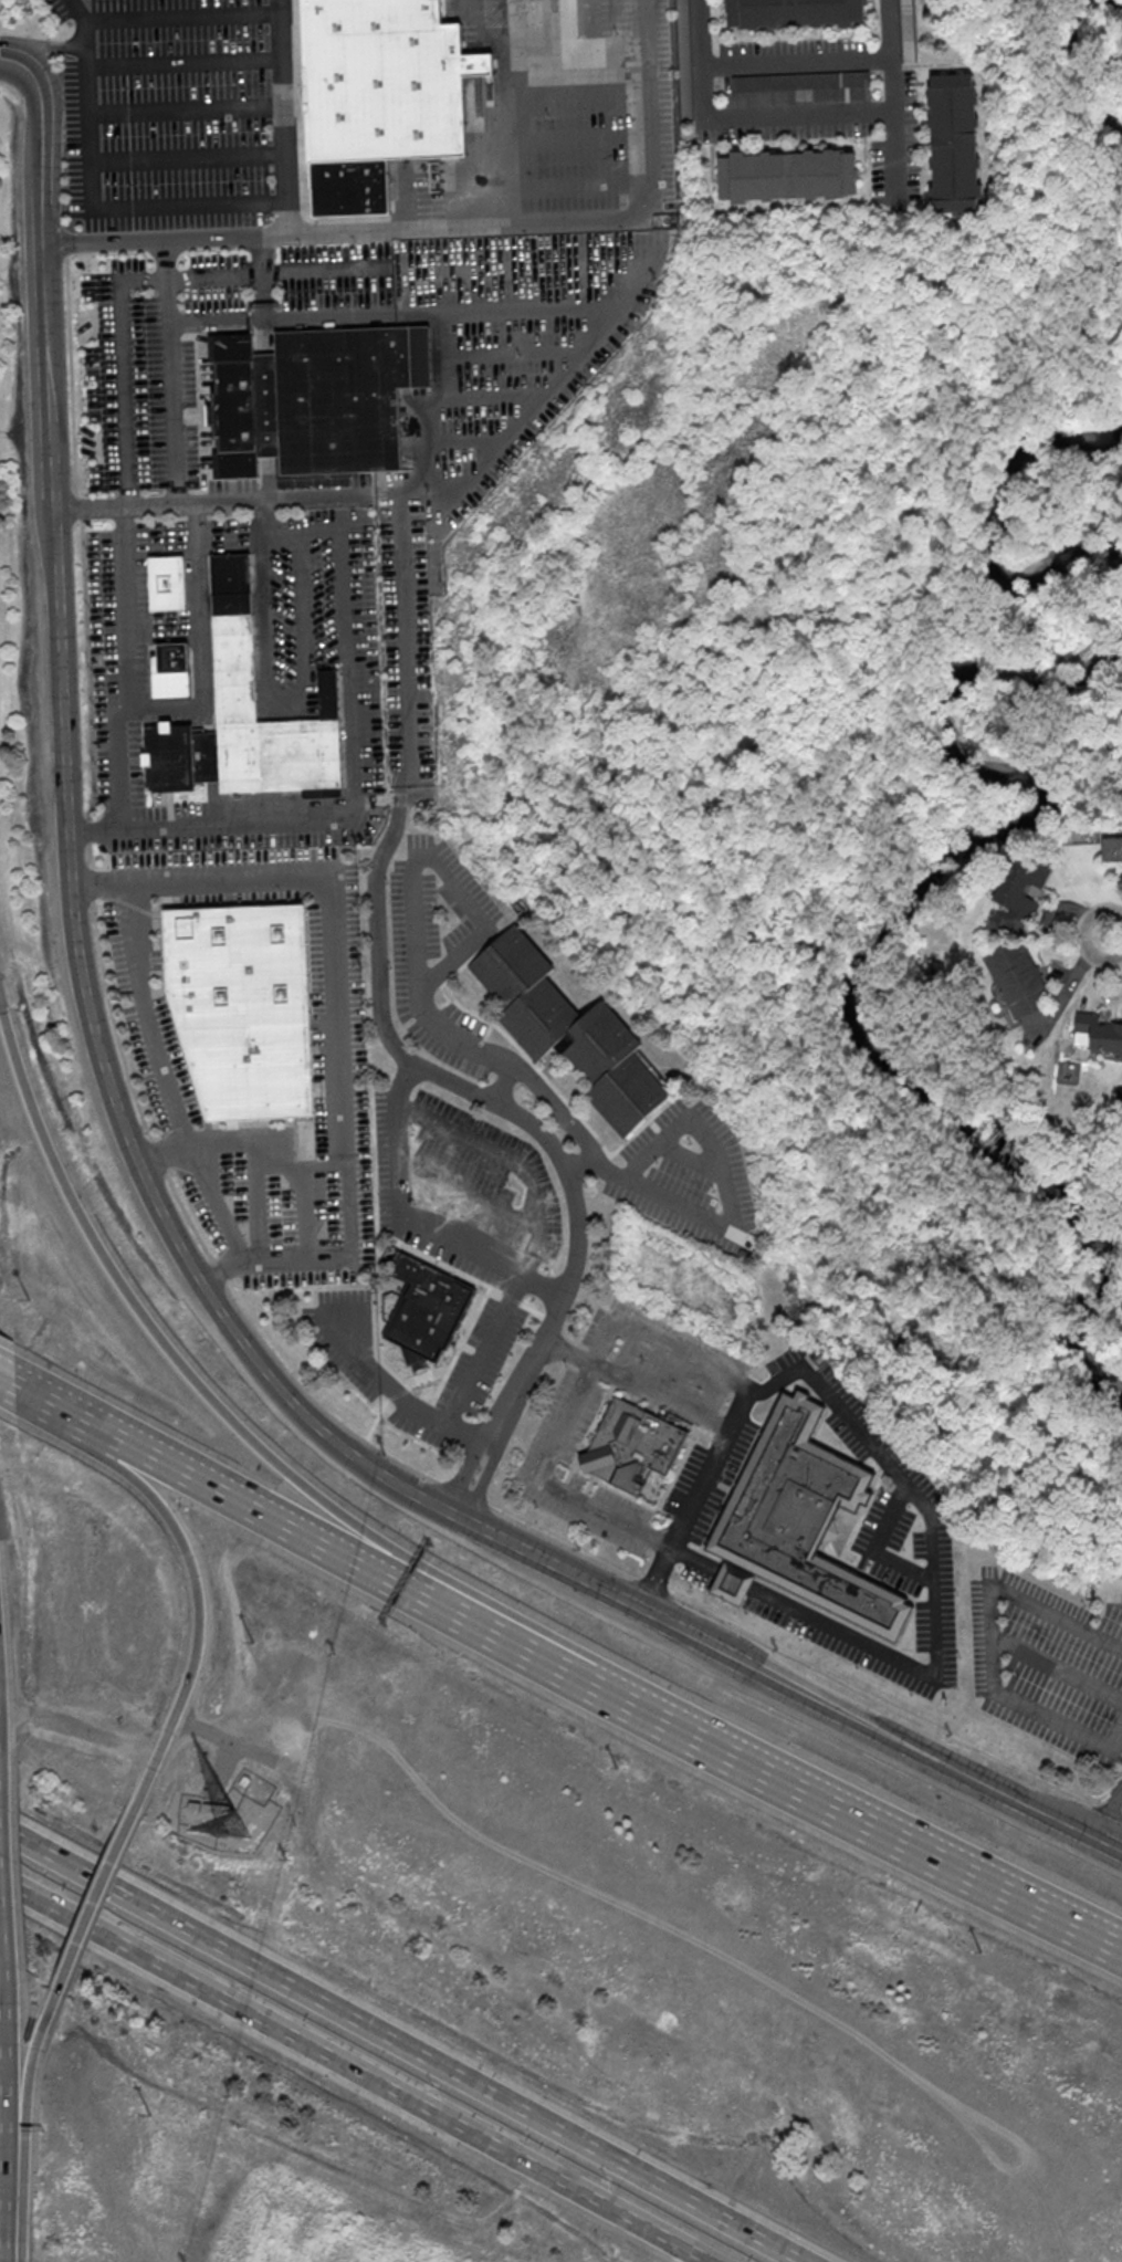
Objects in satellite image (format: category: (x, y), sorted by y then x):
building: (796, 13)
road: (181, 19)
road: (78, 21)
building: (909, 31)
road: (591, 42)
road: (39, 45)
river: (1068, 54)
road: (187, 61)
road: (703, 66)
building: (386, 78)
road: (893, 82)
building: (803, 90)
road: (514, 95)
road: (189, 111)
road: (286, 116)
road: (43, 140)
building: (955, 147)
road: (191, 158)
building: (788, 178)
building: (350, 186)
road: (112, 203)
road: (342, 231)
road: (431, 269)
road: (428, 313)
road: (218, 321)
road: (123, 325)
road: (522, 352)
road: (172, 373)
road: (500, 394)
building: (312, 400)
road: (429, 408)
road: (482, 434)
road: (244, 501)
road: (353, 516)
river: (988, 519)
building: (167, 582)
road: (199, 639)
building: (172, 668)
road: (126, 689)
building: (247, 715)
road: (398, 724)
road: (350, 739)
river: (1025, 761)
building: (1112, 848)
building: (1023, 887)
road: (413, 905)
road: (1087, 934)
building: (1018, 978)
building: (244, 1006)
road: (343, 1012)
building: (574, 1029)
building: (1100, 1031)
road: (166, 1079)
river: (931, 1098)
road: (560, 1103)
road: (260, 1133)
road: (736, 1209)
road: (415, 1221)
river: (1091, 1296)
road: (212, 1297)
building: (427, 1311)
road: (474, 1370)
road: (9, 1382)
road: (226, 1411)
road: (70, 1413)
road: (728, 1426)
building: (633, 1445)
road: (474, 1479)
road: (543, 1486)
building: (799, 1522)
road: (877, 1548)
road: (934, 1553)
road: (693, 1562)
road: (365, 1563)
road: (734, 1582)
road: (200, 1622)
road: (995, 1635)
road: (228, 1741)
building: (195, 1804)
building: (216, 1807)
road: (1098, 1814)
road: (862, 1822)
road: (2, 1903)
road: (96, 1903)
road: (401, 2043)
road: (356, 2069)
road: (6, 2076)
road: (27, 2099)
road: (7, 2202)
road: (7, 2235)
road: (12, 2238)

